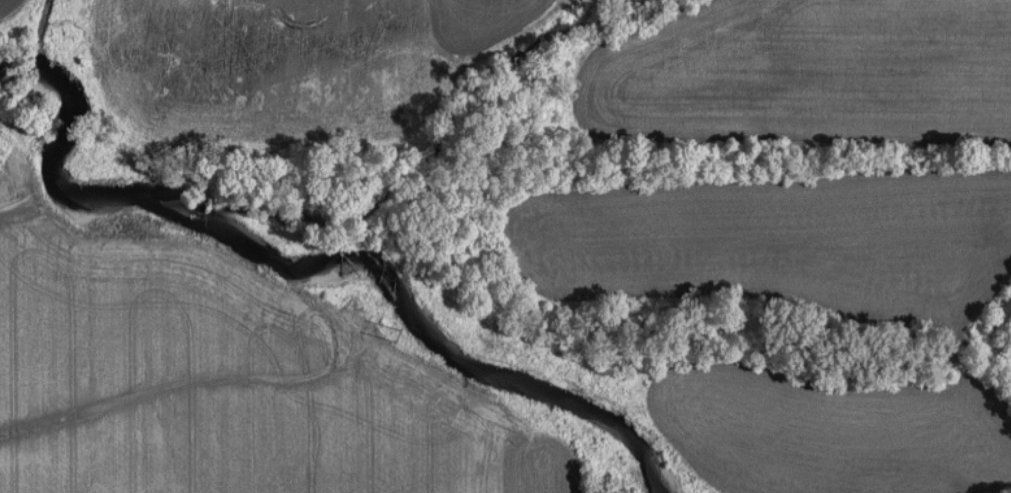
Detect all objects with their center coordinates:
power tower: (393, 332)

